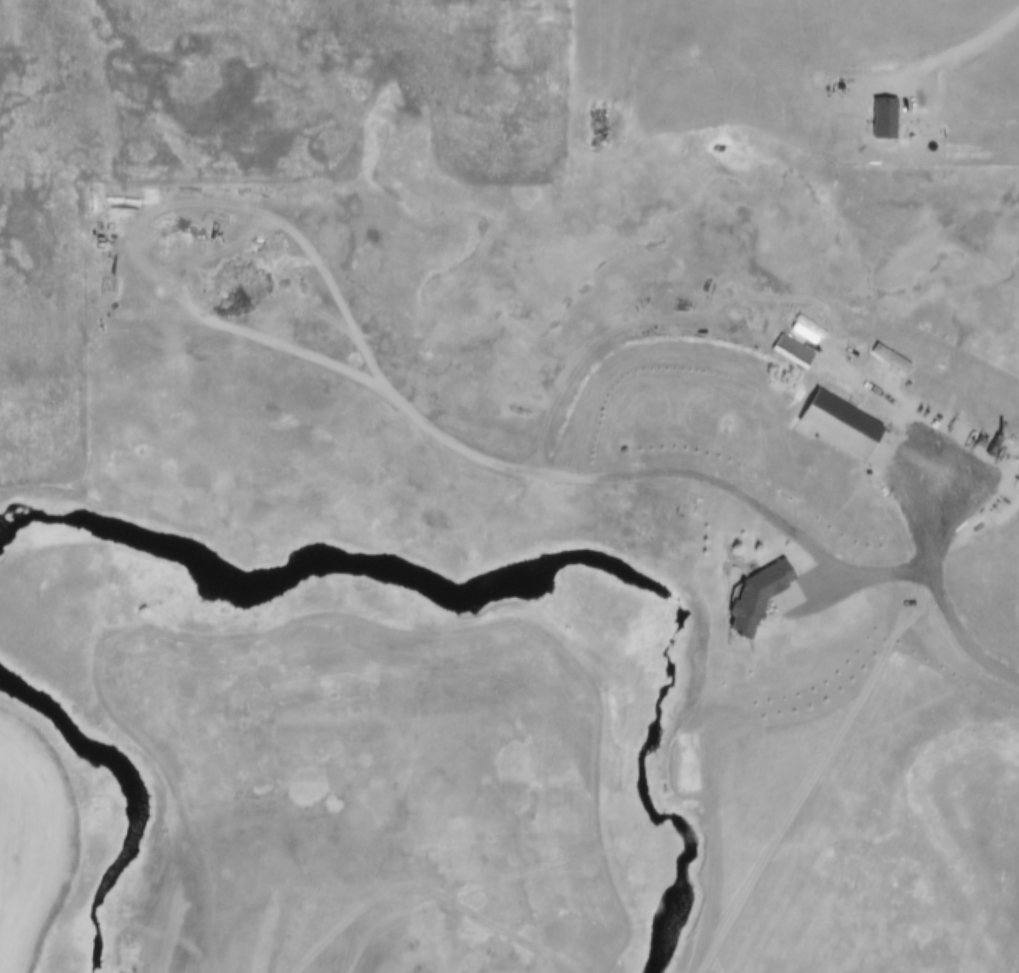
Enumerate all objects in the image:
building: (830, 414)

